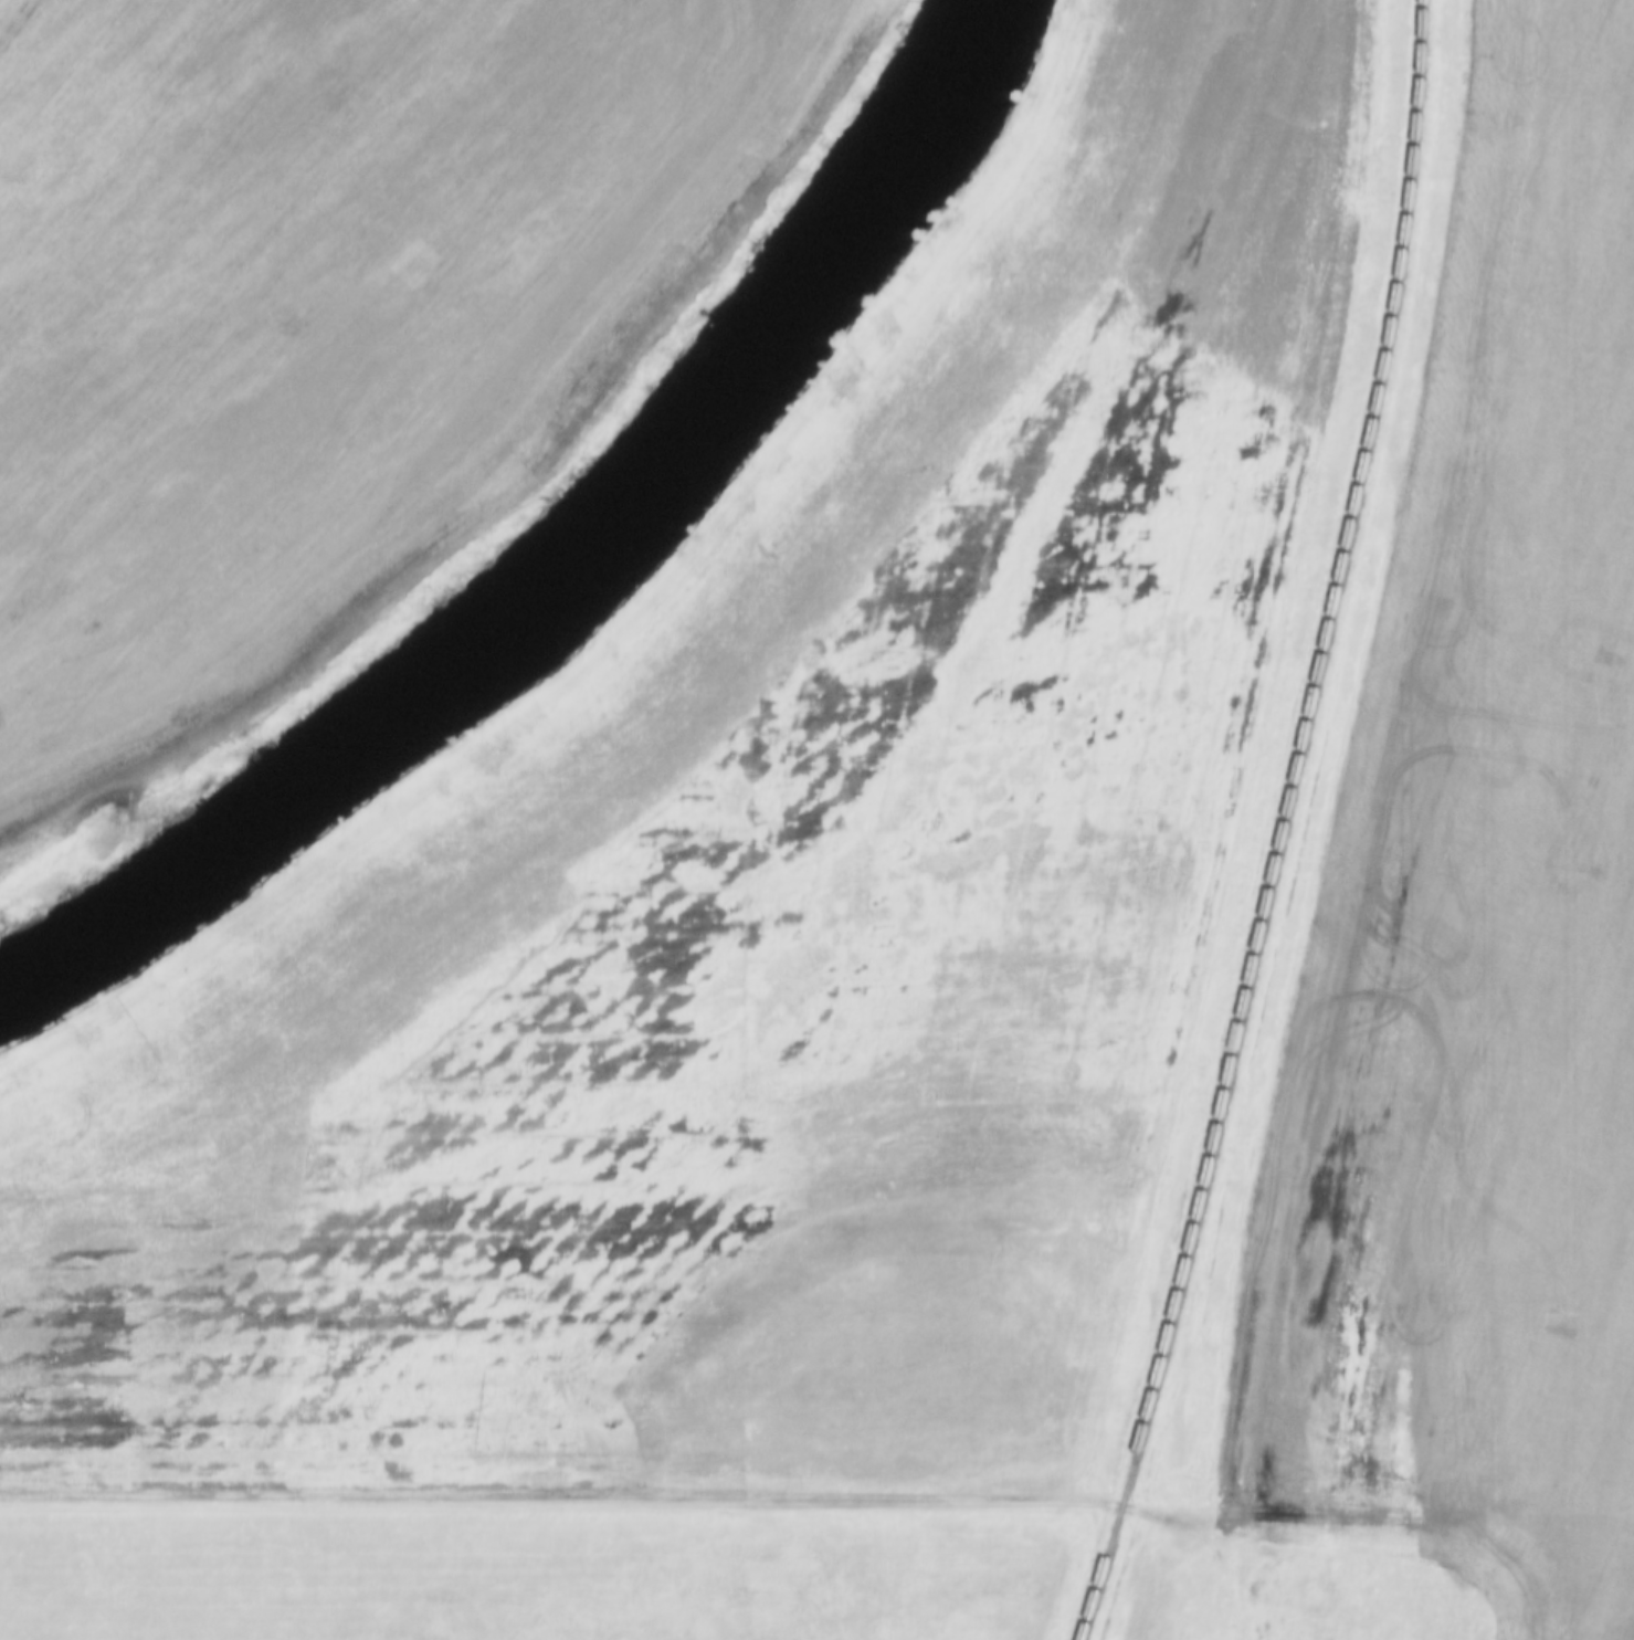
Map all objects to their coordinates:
river: (573, 572)
railway: (1288, 826)

